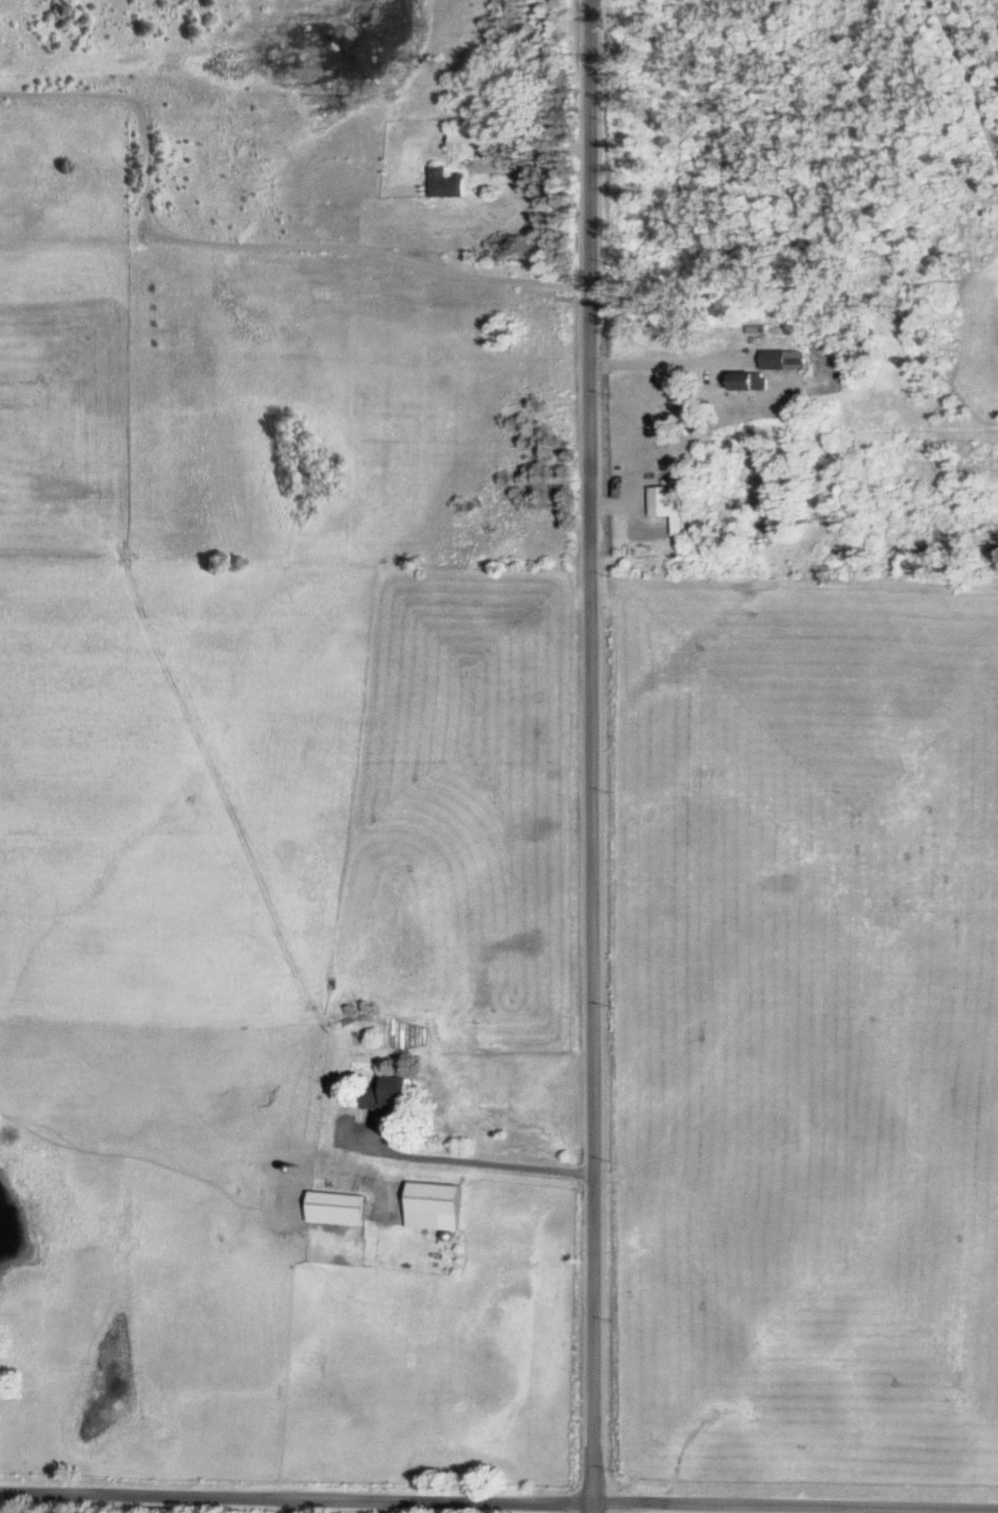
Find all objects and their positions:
building: (464, 142)
building: (445, 183)
building: (747, 381)
building: (667, 505)
road: (594, 751)
building: (391, 1092)
building: (431, 1203)
road: (297, 1494)
road: (796, 1504)
road: (593, 1507)

